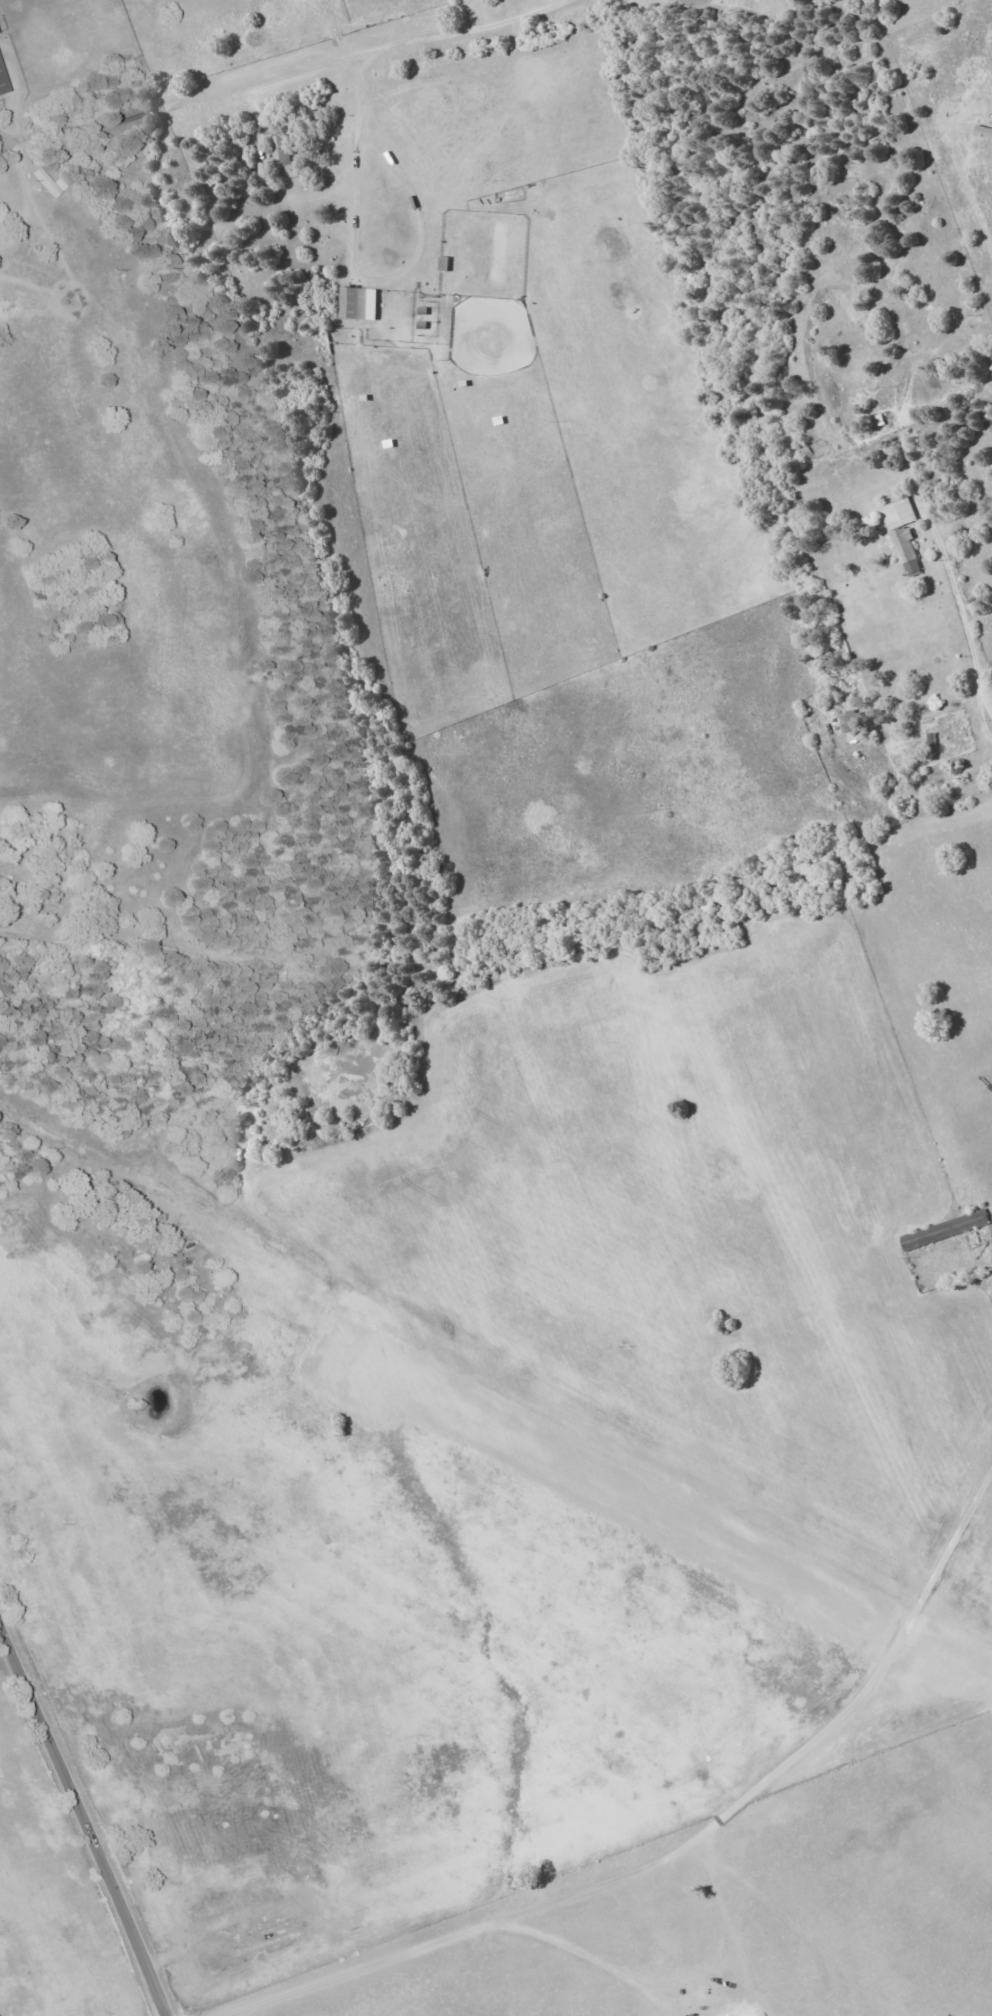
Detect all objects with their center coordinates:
road: (287, 77)
road: (366, 141)
building: (280, 151)
building: (357, 303)
building: (901, 532)
road: (966, 628)
building: (845, 723)
road: (203, 1188)
building: (942, 1230)
road: (539, 1556)
road: (83, 1821)

